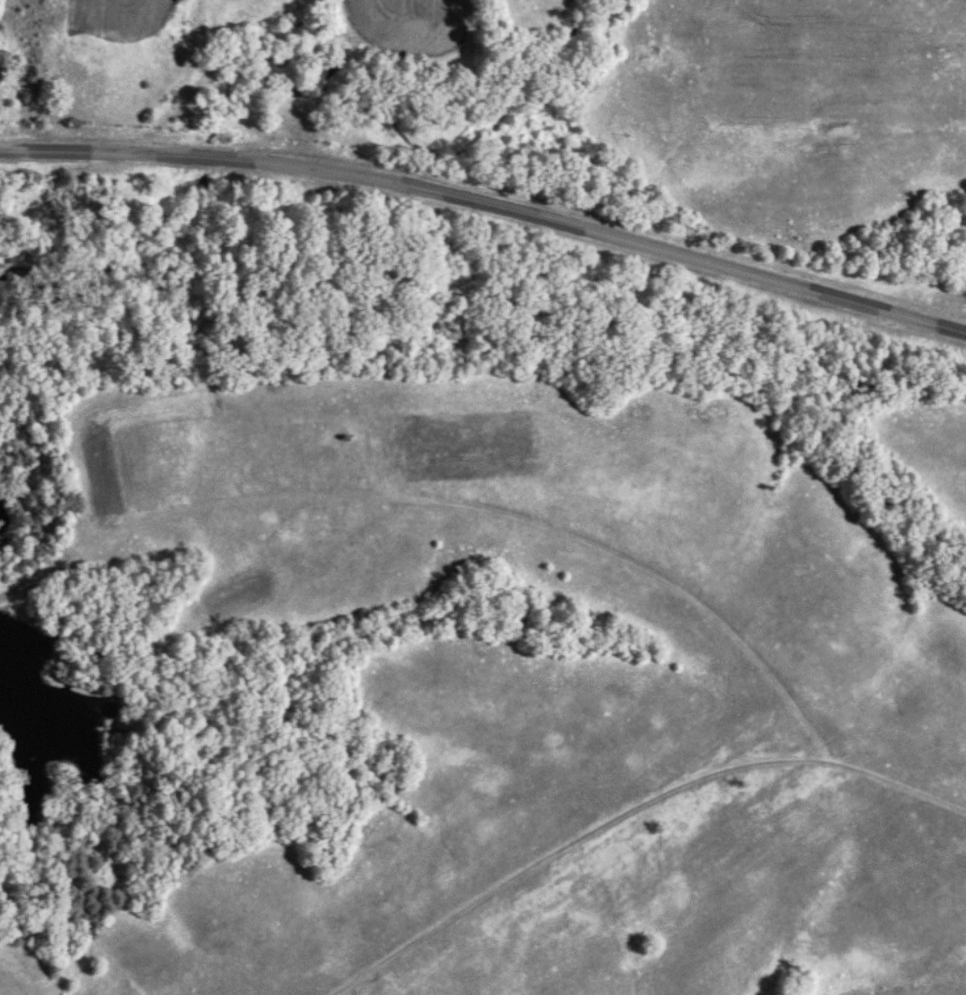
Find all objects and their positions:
road: (489, 204)

